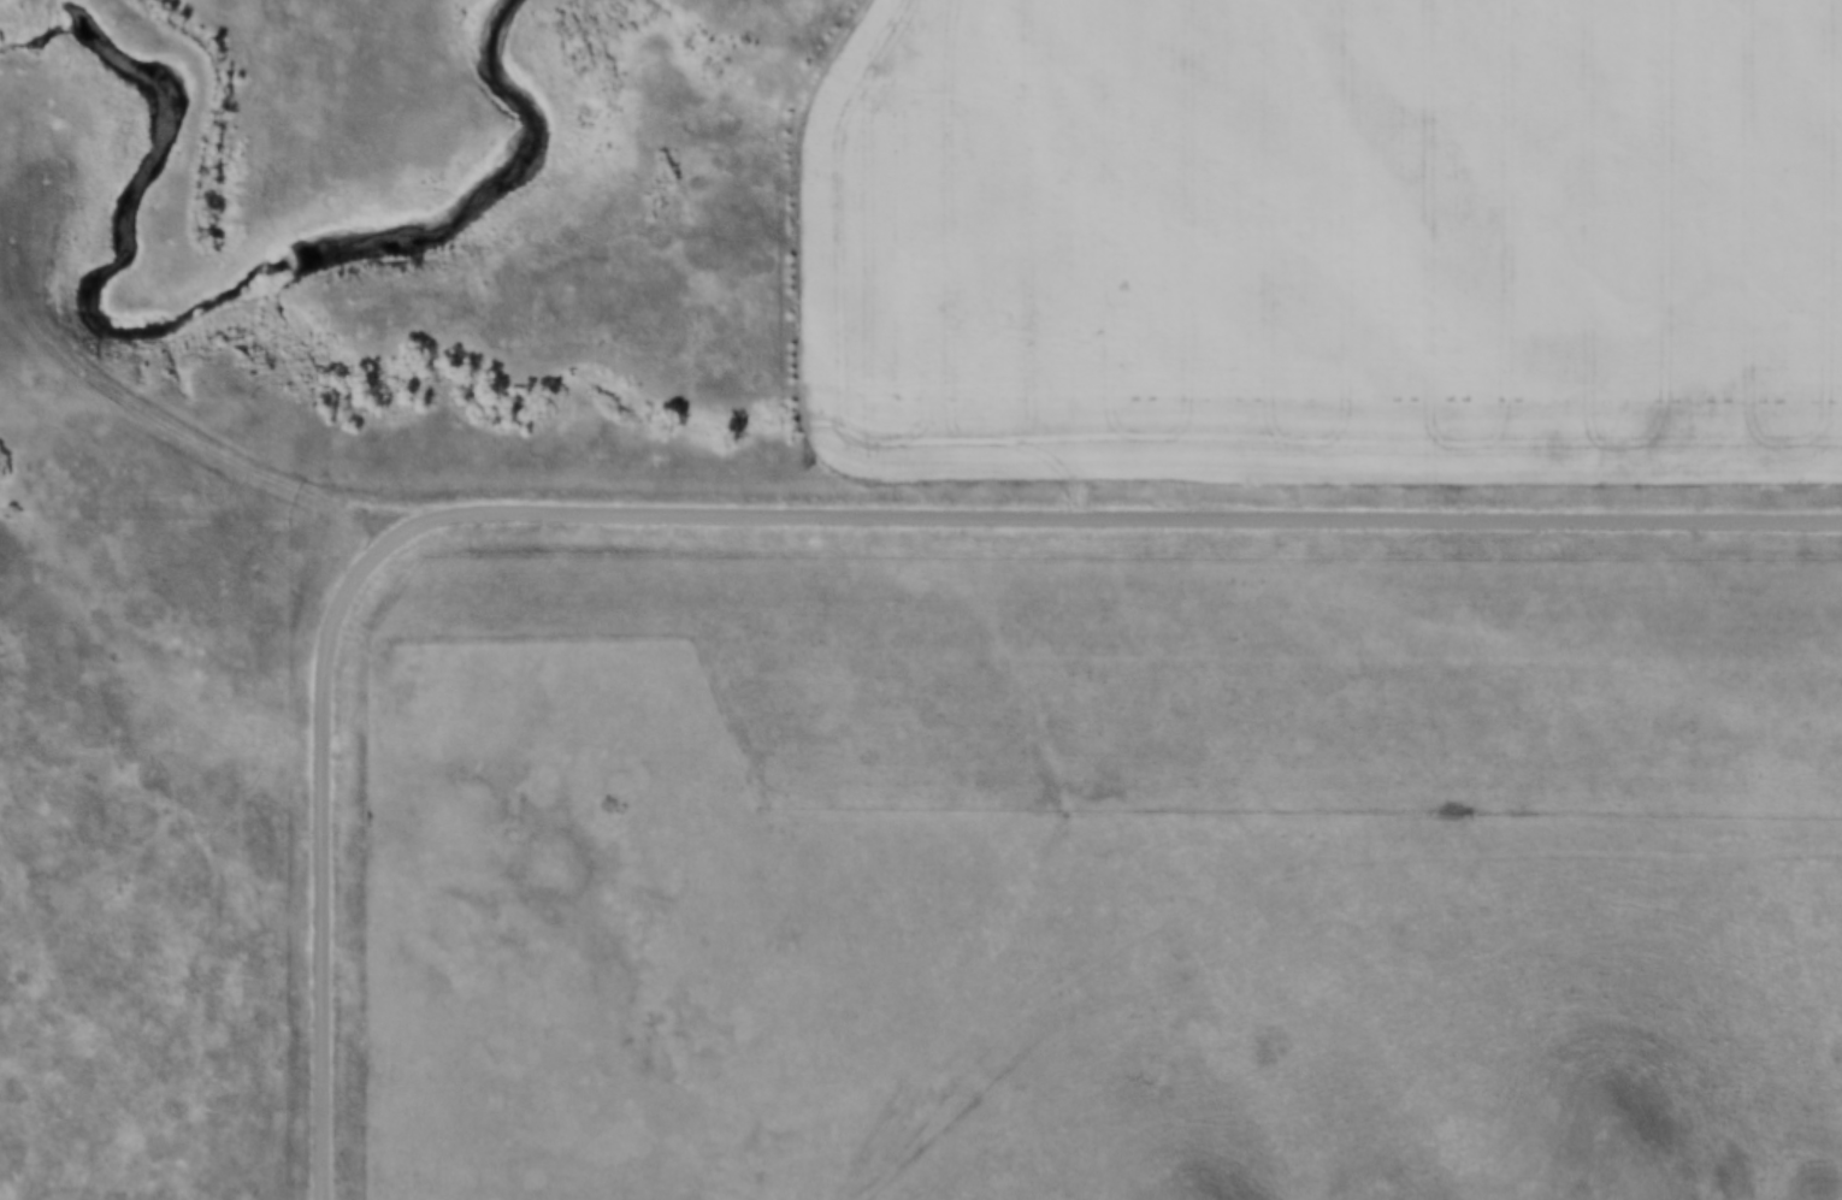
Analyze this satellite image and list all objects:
road: (1102, 519)
road: (327, 874)

